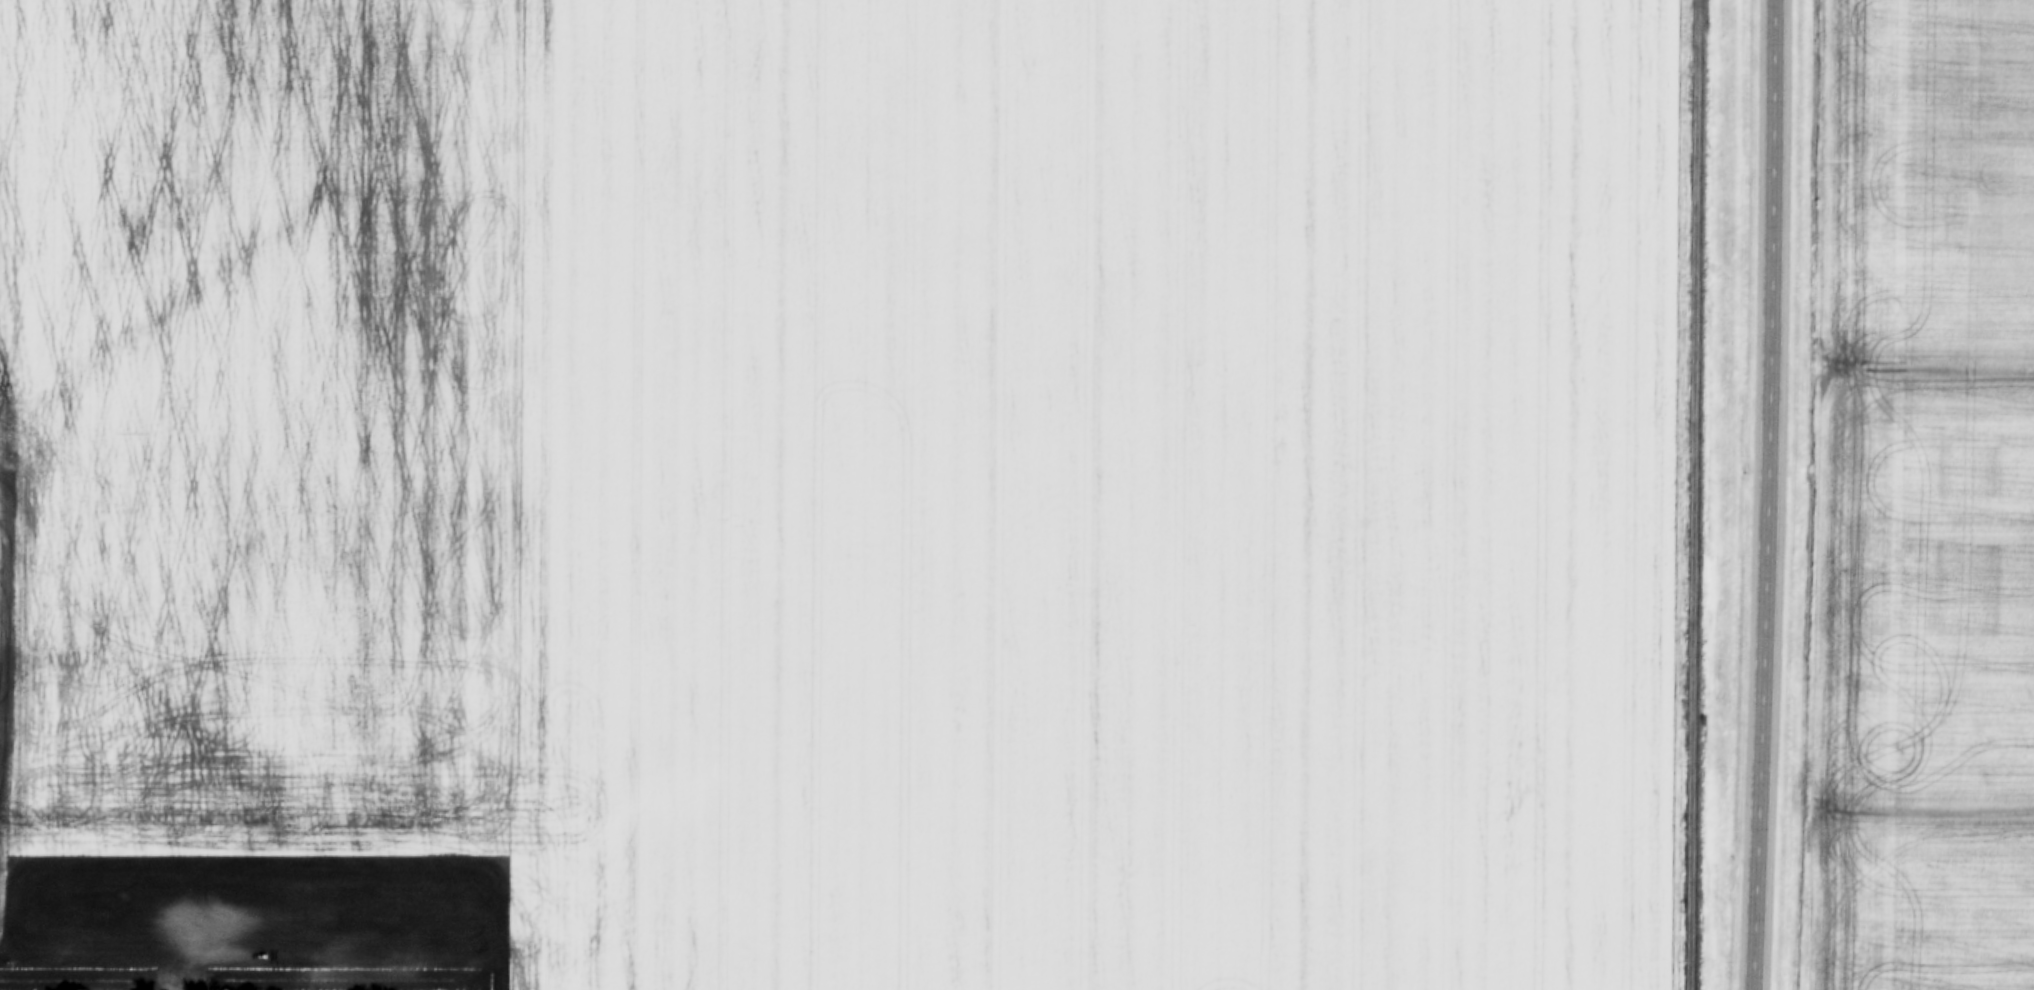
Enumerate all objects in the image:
railway: (1692, 495)
road: (1767, 495)

